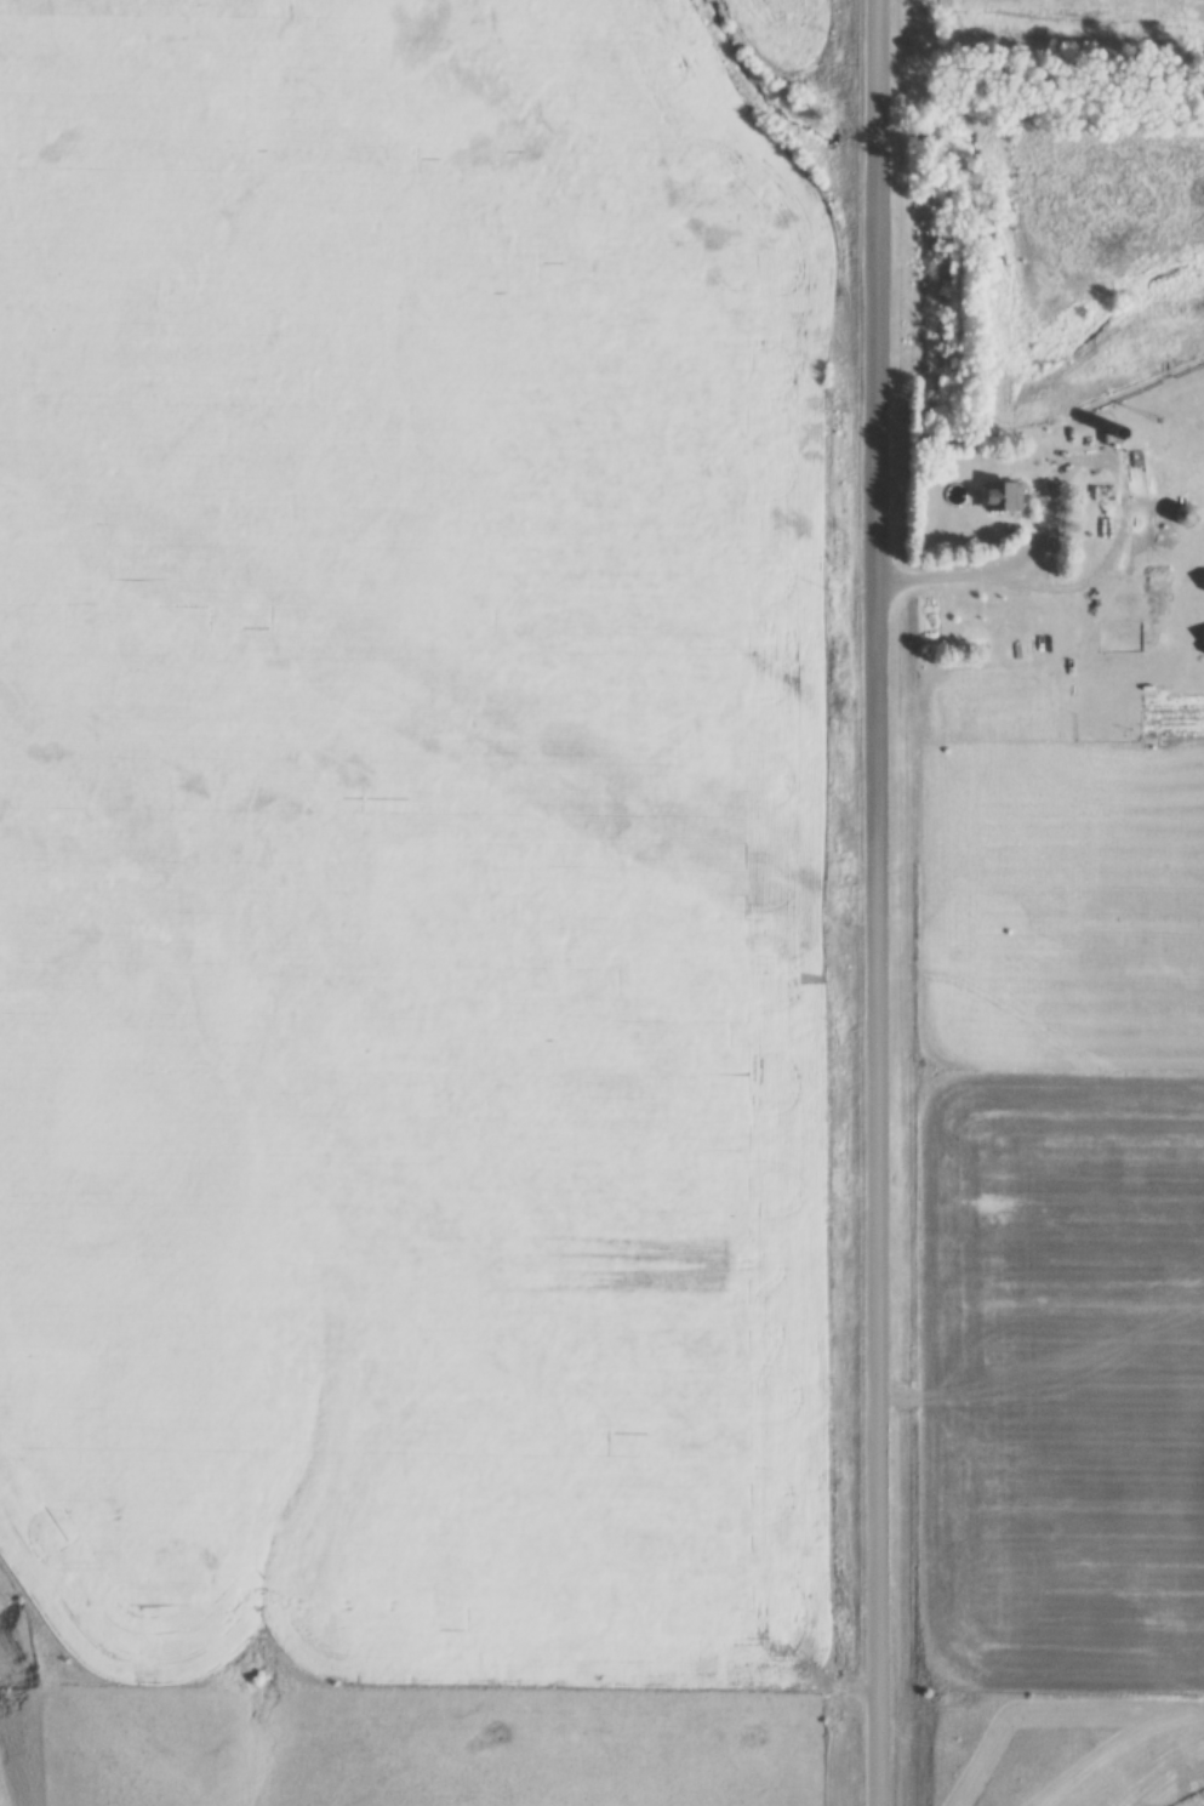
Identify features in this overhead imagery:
road: (1123, 491)
building: (1009, 497)
building: (1193, 515)
road: (923, 572)
road: (874, 902)

